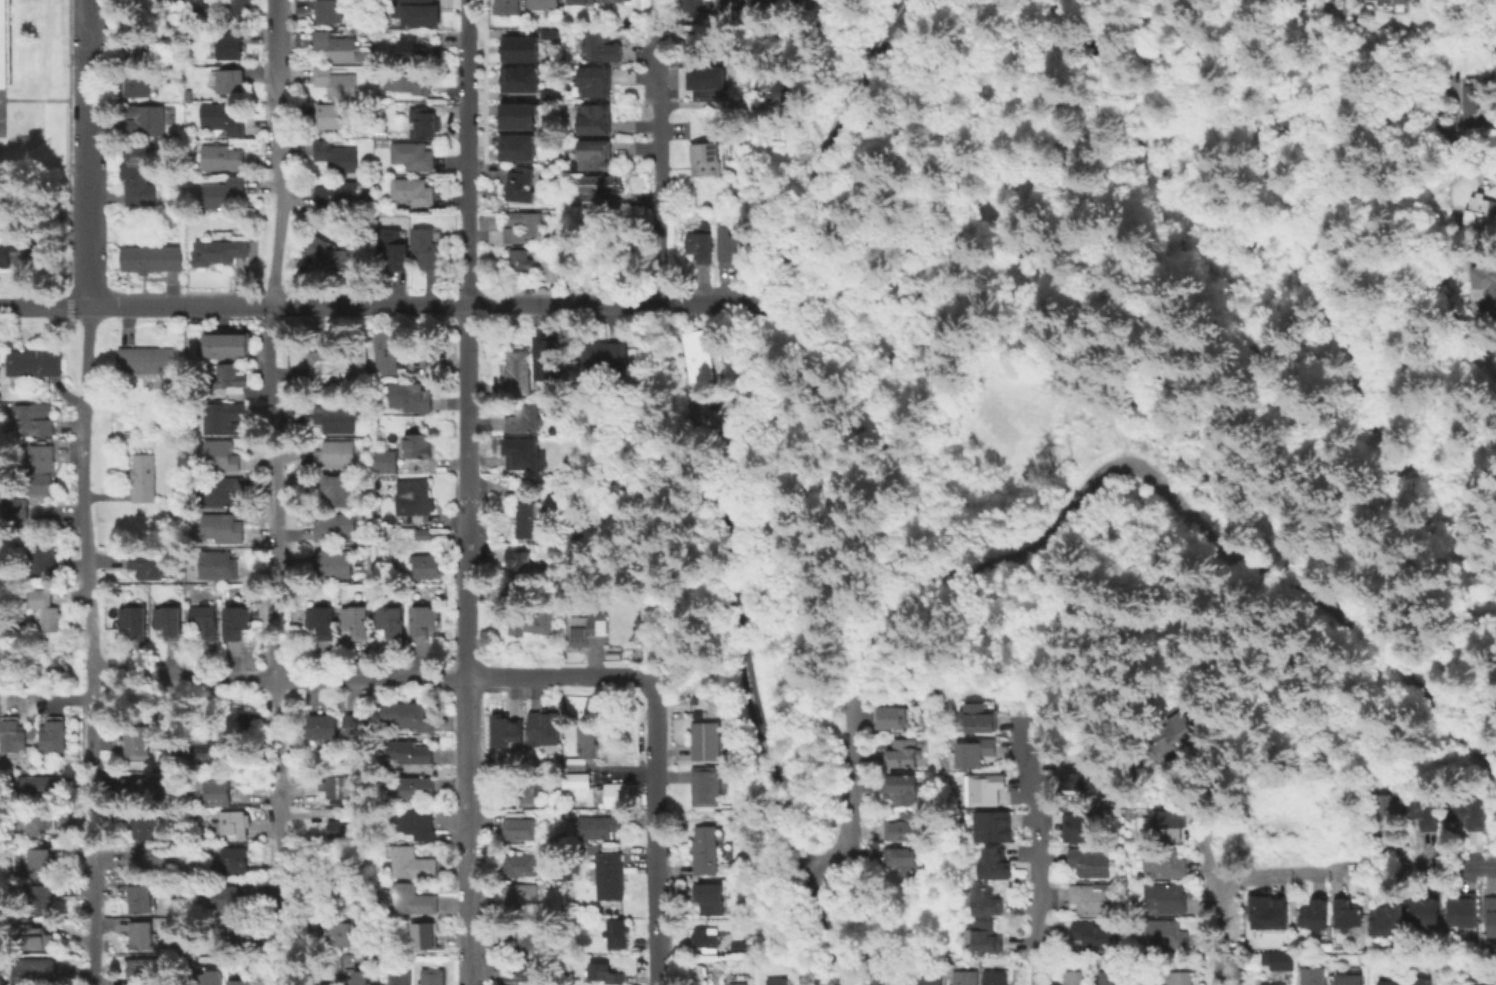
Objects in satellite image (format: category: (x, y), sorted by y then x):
building: (615, 0)
building: (798, 0)
building: (1326, 0)
building: (582, 1)
building: (1397, 1)
building: (543, 4)
building: (205, 5)
building: (731, 5)
building: (237, 6)
building: (699, 6)
building: (506, 7)
building: (332, 12)
building: (417, 12)
road: (466, 12)
road: (658, 15)
building: (547, 33)
building: (691, 39)
building: (2, 46)
building: (138, 47)
building: (230, 47)
building: (600, 47)
building: (516, 48)
building: (339, 49)
building: (418, 50)
road: (1230, 51)
building: (516, 79)
building: (704, 80)
building: (232, 81)
building: (409, 82)
building: (595, 82)
road: (1173, 82)
building: (335, 84)
building: (130, 86)
park: (33, 87)
building: (780, 88)
road: (466, 93)
building: (547, 94)
building: (1474, 99)
road: (47, 101)
road: (716, 103)
road: (1265, 103)
road: (6, 115)
building: (332, 116)
building: (515, 116)
road: (1268, 117)
building: (223, 118)
building: (596, 119)
building: (142, 121)
building: (426, 123)
road: (1468, 142)
building: (515, 147)
road: (89, 152)
building: (413, 155)
building: (591, 155)
building: (336, 156)
building: (220, 157)
building: (705, 158)
road: (660, 166)
road: (1219, 169)
building: (135, 176)
building: (520, 186)
building: (597, 191)
building: (222, 192)
building: (412, 193)
building: (337, 194)
building: (1482, 211)
building: (523, 226)
road: (465, 233)
road: (1226, 238)
building: (395, 245)
building: (731, 245)
building: (426, 246)
building: (700, 246)
building: (219, 251)
building: (5, 256)
building: (339, 257)
building: (147, 260)
building: (521, 260)
building: (553, 274)
building: (1485, 285)
road: (1080, 291)
road: (382, 305)
road: (1328, 314)
building: (229, 343)
road: (1240, 345)
building: (387, 352)
building: (698, 353)
building: (606, 355)
building: (545, 358)
building: (143, 362)
building: (336, 363)
building: (31, 364)
building: (520, 371)
building: (228, 380)
building: (410, 396)
building: (696, 411)
building: (336, 417)
building: (525, 417)
building: (224, 418)
building: (35, 419)
road: (737, 425)
road: (1378, 433)
building: (416, 444)
building: (521, 453)
building: (336, 454)
building: (222, 456)
building: (388, 461)
road: (1123, 465)
building: (42, 468)
road: (1228, 469)
building: (145, 477)
building: (392, 478)
building: (338, 489)
road: (467, 490)
building: (223, 491)
road: (277, 492)
building: (418, 497)
building: (174, 500)
building: (18, 508)
building: (530, 518)
building: (334, 526)
building: (223, 528)
road: (1428, 528)
building: (424, 534)
building: (42, 553)
building: (515, 560)
building: (334, 562)
road: (86, 563)
building: (147, 564)
building: (219, 565)
building: (426, 565)
building: (179, 579)
building: (513, 594)
building: (48, 608)
building: (323, 620)
building: (393, 620)
building: (426, 620)
building: (168, 621)
building: (204, 621)
building: (236, 621)
building: (357, 621)
building: (135, 622)
building: (533, 623)
building: (587, 628)
road: (559, 674)
road: (279, 677)
road: (69, 696)
building: (409, 716)
building: (981, 716)
building: (892, 718)
building: (242, 723)
building: (361, 726)
road: (1446, 726)
building: (324, 727)
building: (543, 727)
building: (505, 729)
building: (13, 735)
building: (55, 736)
building: (1182, 737)
building: (708, 740)
building: (138, 741)
building: (587, 748)
building: (167, 752)
building: (206, 752)
building: (411, 752)
building: (904, 753)
building: (976, 753)
building: (581, 780)
building: (1088, 781)
road: (849, 785)
building: (708, 786)
building: (36, 787)
building: (152, 787)
building: (346, 787)
building: (415, 788)
building: (902, 789)
building: (991, 789)
building: (522, 792)
building: (219, 793)
building: (621, 795)
building: (1388, 811)
building: (1425, 811)
building: (1466, 812)
building: (39, 823)
building: (1178, 823)
building: (236, 824)
building: (416, 824)
building: (1000, 825)
building: (522, 826)
building: (603, 826)
building: (346, 827)
building: (897, 827)
building: (1087, 827)
building: (148, 828)
building: (1257, 830)
road: (469, 831)
building: (1279, 831)
building: (1302, 831)
road: (656, 832)
building: (708, 850)
road: (1043, 854)
building: (150, 860)
building: (235, 860)
building: (894, 861)
building: (1094, 861)
building: (43, 862)
building: (412, 864)
building: (522, 864)
road: (1447, 864)
building: (1170, 865)
building: (995, 867)
road: (1280, 873)
road: (814, 877)
building: (611, 878)
road: (818, 884)
building: (522, 894)
building: (1094, 898)
building: (44, 899)
building: (143, 899)
building: (228, 899)
building: (410, 899)
building: (709, 899)
building: (1169, 900)
building: (985, 901)
road: (1215, 907)
building: (1276, 910)
building: (1463, 912)
building: (1426, 916)
building: (1490, 916)
building: (1351, 917)
building: (1317, 918)
road: (93, 924)
building: (1390, 925)
building: (232, 929)
road: (819, 929)
building: (143, 933)
building: (341, 933)
building: (618, 933)
road: (837, 934)
building: (424, 936)
building: (523, 936)
building: (984, 936)
building: (1096, 936)
building: (1169, 936)
building: (43, 937)
building: (708, 938)
building: (1286, 963)
building: (523, 969)
building: (147, 970)
building: (38, 971)
building: (608, 973)
building: (400, 976)
building: (433, 977)
building: (963, 977)
building: (994, 977)
building: (1076, 977)
building: (1316, 977)
building: (208, 978)
building: (358, 979)
building: (1113, 979)
building: (1151, 979)
building: (1182, 979)
building: (924, 980)
building: (774, 981)
building: (889, 981)
building: (1352, 981)
building: (241, 982)
building: (1390, 982)
building: (741, 983)
building: (1272, 983)
building: (1424, 983)
building: (323, 984)

